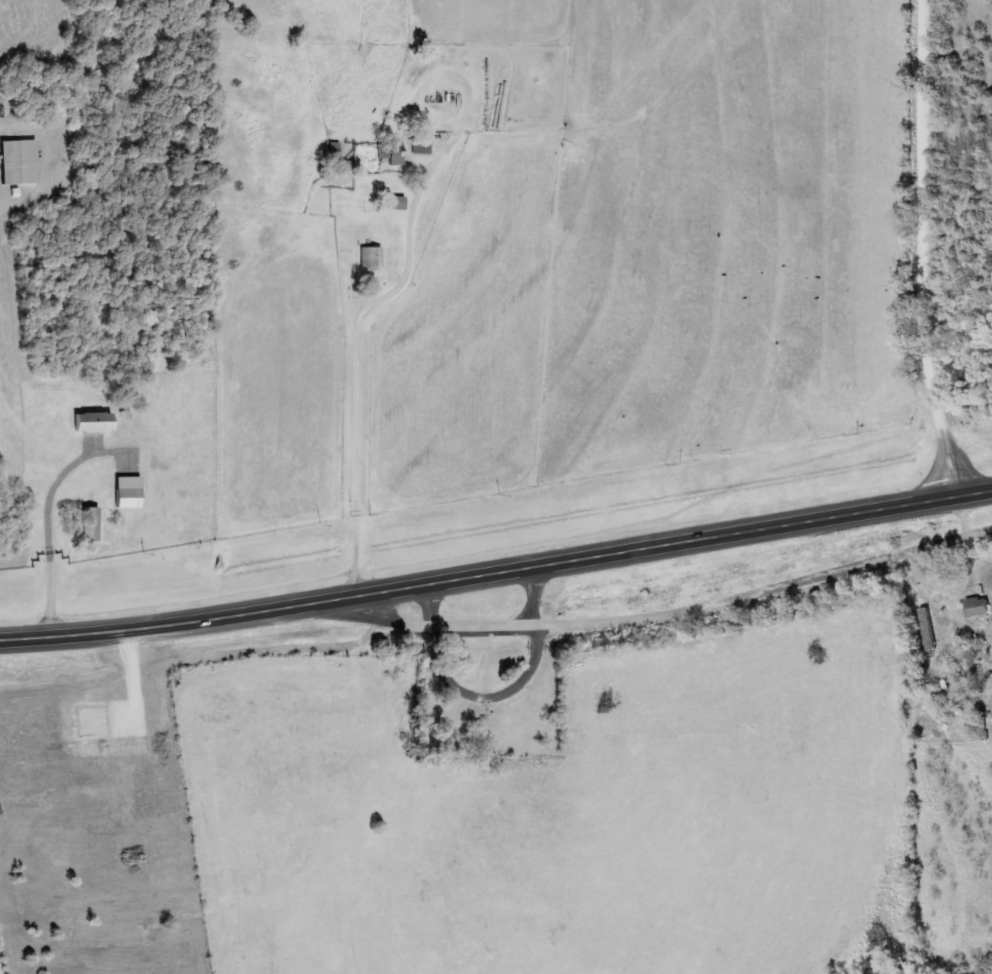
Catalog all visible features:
building: (424, 147)
building: (399, 159)
building: (22, 163)
building: (401, 204)
road: (930, 249)
building: (374, 259)
building: (98, 423)
building: (132, 493)
building: (93, 525)
road: (496, 570)
building: (981, 607)

